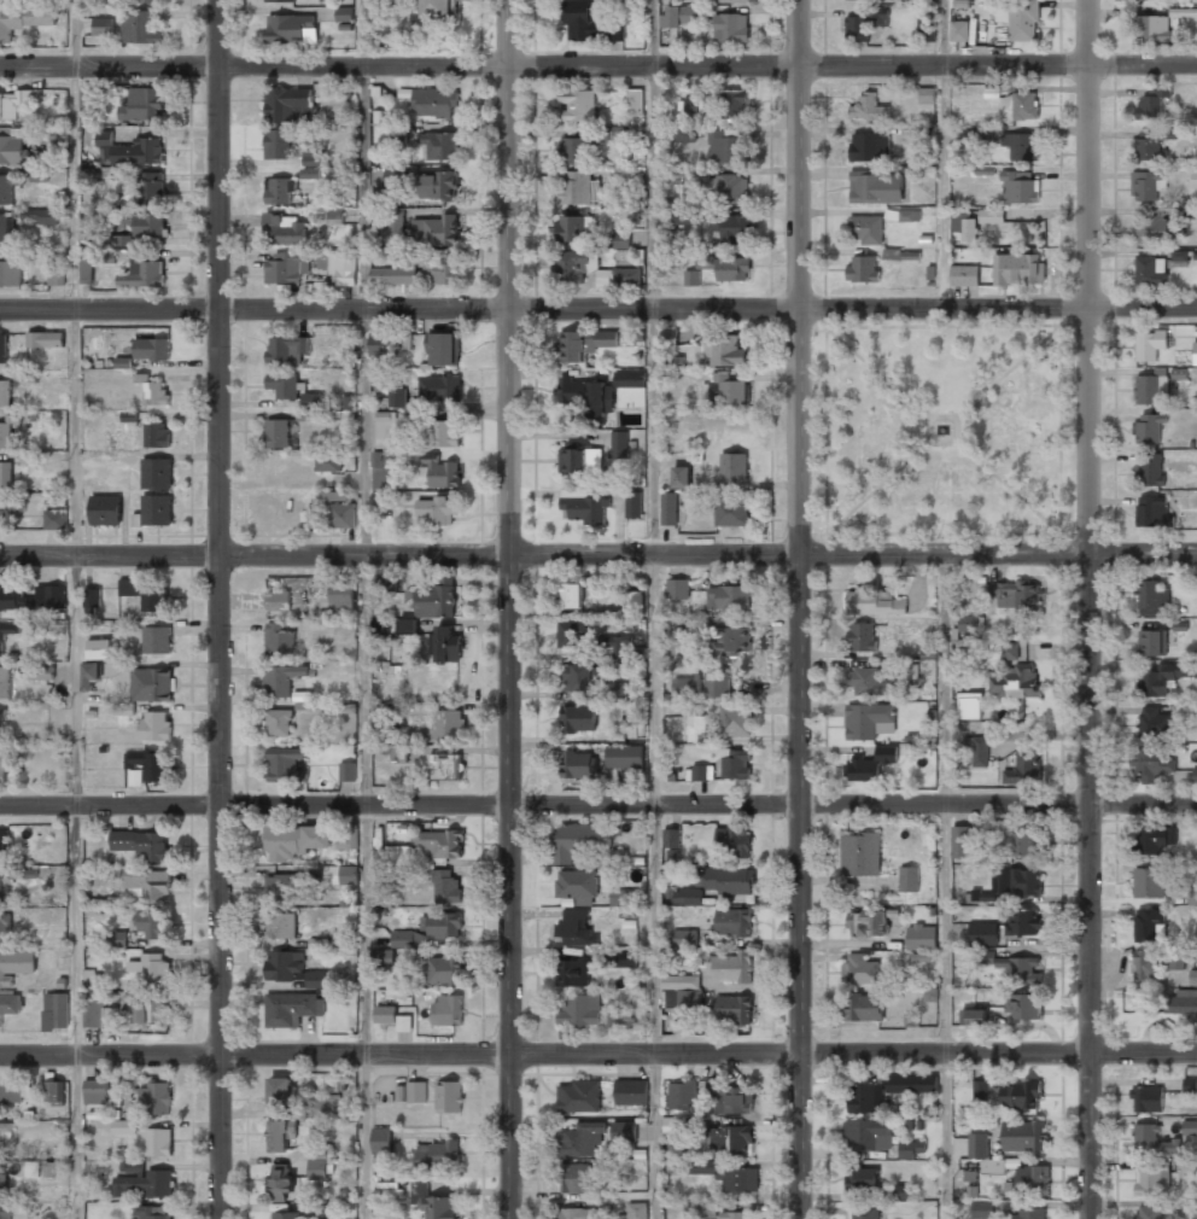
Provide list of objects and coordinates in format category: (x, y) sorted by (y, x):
building: (144, 0)
building: (281, 0)
building: (736, 1)
building: (439, 11)
building: (344, 13)
building: (1190, 16)
building: (24, 18)
building: (678, 18)
building: (1020, 18)
building: (588, 22)
building: (864, 24)
building: (103, 25)
building: (140, 27)
building: (731, 27)
building: (1155, 28)
building: (291, 29)
building: (926, 29)
building: (958, 30)
road: (1143, 63)
road: (544, 64)
building: (87, 95)
building: (927, 95)
building: (635, 100)
building: (433, 101)
building: (14, 103)
building: (144, 104)
building: (286, 104)
building: (734, 104)
building: (1151, 104)
building: (579, 105)
building: (691, 105)
building: (1024, 105)
building: (869, 109)
building: (685, 134)
building: (924, 135)
building: (971, 136)
building: (27, 141)
building: (279, 142)
building: (440, 145)
building: (1021, 145)
building: (1151, 145)
building: (580, 146)
building: (724, 146)
building: (870, 147)
building: (130, 150)
road: (941, 153)
building: (313, 156)
building: (310, 173)
building: (39, 175)
building: (393, 176)
building: (1193, 179)
building: (1146, 185)
building: (438, 186)
building: (7, 187)
building: (151, 187)
building: (579, 187)
building: (637, 187)
building: (876, 187)
building: (1020, 187)
building: (732, 188)
building: (280, 189)
building: (39, 215)
building: (909, 215)
building: (991, 215)
building: (1196, 215)
building: (334, 216)
building: (688, 216)
building: (396, 218)
building: (145, 222)
building: (573, 226)
building: (731, 227)
building: (286, 228)
building: (865, 228)
building: (965, 228)
building: (1155, 228)
building: (6, 229)
building: (434, 229)
building: (621, 238)
building: (892, 253)
building: (104, 256)
building: (1179, 256)
building: (577, 264)
building: (343, 267)
building: (726, 267)
building: (284, 268)
building: (863, 268)
building: (1018, 268)
building: (11, 269)
building: (87, 270)
building: (440, 270)
building: (1151, 270)
building: (144, 273)
building: (56, 274)
building: (392, 275)
building: (964, 275)
building: (619, 276)
road: (800, 276)
road: (1088, 276)
road: (221, 278)
road: (508, 278)
building: (691, 278)
road: (1143, 307)
road: (544, 309)
road: (827, 310)
road: (1062, 311)
building: (670, 337)
building: (46, 339)
building: (380, 343)
building: (583, 344)
building: (1150, 344)
building: (4, 348)
building: (443, 348)
building: (152, 349)
building: (287, 349)
building: (724, 351)
building: (1195, 352)
building: (123, 362)
road: (1008, 371)
road: (878, 372)
building: (630, 379)
building: (284, 384)
building: (1149, 386)
building: (439, 387)
building: (726, 390)
building: (154, 391)
building: (5, 392)
building: (590, 395)
building: (397, 397)
building: (311, 401)
fountain: (944, 428)
building: (1148, 428)
building: (7, 430)
building: (386, 430)
park: (944, 430)
building: (278, 432)
building: (438, 432)
building: (157, 434)
road: (956, 441)
building: (619, 443)
building: (580, 460)
building: (328, 461)
building: (734, 466)
building: (383, 469)
building: (1151, 469)
building: (157, 472)
building: (440, 472)
building: (6, 474)
building: (681, 477)
road: (878, 486)
road: (1008, 486)
building: (333, 496)
building: (633, 503)
building: (11, 506)
building: (668, 508)
building: (105, 509)
building: (157, 509)
building: (436, 509)
building: (731, 511)
building: (1152, 512)
building: (341, 514)
building: (56, 519)
road: (1059, 532)
road: (828, 537)
road: (828, 554)
road: (1143, 554)
road: (543, 555)
building: (387, 585)
building: (677, 588)
building: (341, 593)
building: (146, 594)
building: (571, 595)
building: (1017, 595)
building: (1152, 595)
building: (31, 596)
building: (90, 596)
building: (729, 596)
building: (636, 597)
building: (278, 600)
building: (434, 601)
building: (874, 601)
road: (654, 608)
road: (77, 609)
road: (366, 609)
building: (971, 625)
building: (393, 626)
building: (572, 634)
building: (860, 636)
building: (157, 640)
building: (279, 640)
building: (734, 640)
building: (1152, 642)
building: (445, 643)
building: (1, 645)
building: (611, 647)
building: (99, 649)
building: (1009, 649)
building: (41, 672)
building: (90, 675)
building: (577, 676)
building: (1166, 677)
building: (281, 678)
building: (1014, 681)
building: (5, 682)
building: (870, 682)
building: (717, 683)
building: (151, 684)
building: (685, 686)
building: (618, 690)
building: (969, 705)
building: (380, 715)
building: (579, 718)
building: (735, 719)
building: (869, 721)
building: (279, 722)
building: (1154, 722)
building: (2, 723)
building: (449, 724)
building: (156, 725)
building: (696, 728)
building: (976, 750)
building: (398, 752)
building: (626, 756)
building: (5, 763)
building: (736, 763)
building: (286, 764)
building: (870, 764)
building: (1154, 764)
building: (445, 765)
building: (579, 765)
building: (145, 766)
building: (1024, 768)
building: (348, 771)
building: (702, 772)
building: (1195, 774)
road: (1143, 800)
road: (544, 805)
building: (671, 838)
building: (349, 839)
building: (1157, 839)
building: (294, 840)
building: (732, 841)
building: (960, 841)
building: (140, 842)
building: (4, 844)
building: (439, 844)
building: (585, 844)
building: (399, 855)
building: (860, 855)
building: (672, 856)
building: (340, 875)
building: (724, 879)
building: (909, 879)
building: (1015, 881)
building: (1149, 882)
building: (148, 883)
building: (292, 886)
building: (446, 886)
road: (944, 886)
road: (1090, 886)
road: (221, 887)
road: (510, 887)
road: (800, 887)
road: (827, 892)
building: (4, 893)
building: (688, 896)
building: (1192, 896)
building: (983, 897)
building: (732, 921)
building: (1020, 921)
building: (869, 922)
building: (151, 923)
building: (280, 925)
building: (442, 925)
building: (1150, 926)
building: (5, 927)
building: (576, 927)
building: (982, 933)
building: (921, 937)
building: (684, 938)
building: (409, 939)
building: (116, 940)
building: (986, 956)
building: (383, 957)
building: (922, 957)
building: (620, 960)
building: (1175, 960)
building: (16, 964)
building: (1146, 964)
building: (731, 966)
building: (152, 969)
building: (292, 969)
building: (860, 969)
building: (1021, 969)
building: (438, 970)
building: (573, 973)
building: (1193, 978)
building: (681, 981)
building: (682, 998)
building: (1180, 1002)
building: (10, 1005)
building: (1022, 1005)
building: (292, 1008)
building: (864, 1008)
building: (145, 1009)
building: (448, 1009)
building: (735, 1009)
building: (56, 1010)
building: (580, 1010)
building: (93, 1013)
building: (385, 1014)
building: (618, 1016)
building: (974, 1016)
building: (112, 1017)
building: (403, 1023)
road: (545, 1054)
road: (1144, 1055)
building: (911, 1083)
building: (1190, 1085)
building: (980, 1090)
building: (56, 1091)
building: (97, 1091)
building: (280, 1091)
building: (416, 1091)
building: (631, 1091)
building: (10, 1092)
building: (682, 1095)
building: (1018, 1095)
building: (449, 1096)
building: (579, 1096)
building: (865, 1097)
building: (154, 1098)
building: (728, 1098)
building: (1148, 1098)
building: (676, 1125)
building: (124, 1126)
building: (1190, 1127)
building: (4, 1130)
building: (624, 1131)
building: (868, 1133)
building: (281, 1135)
building: (1023, 1135)
building: (381, 1139)
building: (582, 1139)
building: (731, 1139)
building: (1154, 1141)
building: (154, 1142)
building: (977, 1145)
building: (911, 1149)
building: (438, 1154)
building: (319, 1157)
building: (992, 1166)
building: (30, 1168)
building: (717, 1173)
building: (574, 1178)
building: (862, 1178)
building: (2, 1179)
building: (1033, 1179)
building: (142, 1180)
building: (280, 1182)
building: (1150, 1182)
building: (389, 1188)
building: (900, 1191)
building: (432, 1201)
building: (982, 1209)
building: (1193, 1209)
building: (637, 1211)
building: (700, 1211)
building: (5, 1212)
building: (152, 1212)
building: (863, 1212)
building: (1149, 1212)
building: (579, 1213)
building: (1029, 1213)
building: (286, 1214)
building: (736, 1215)

